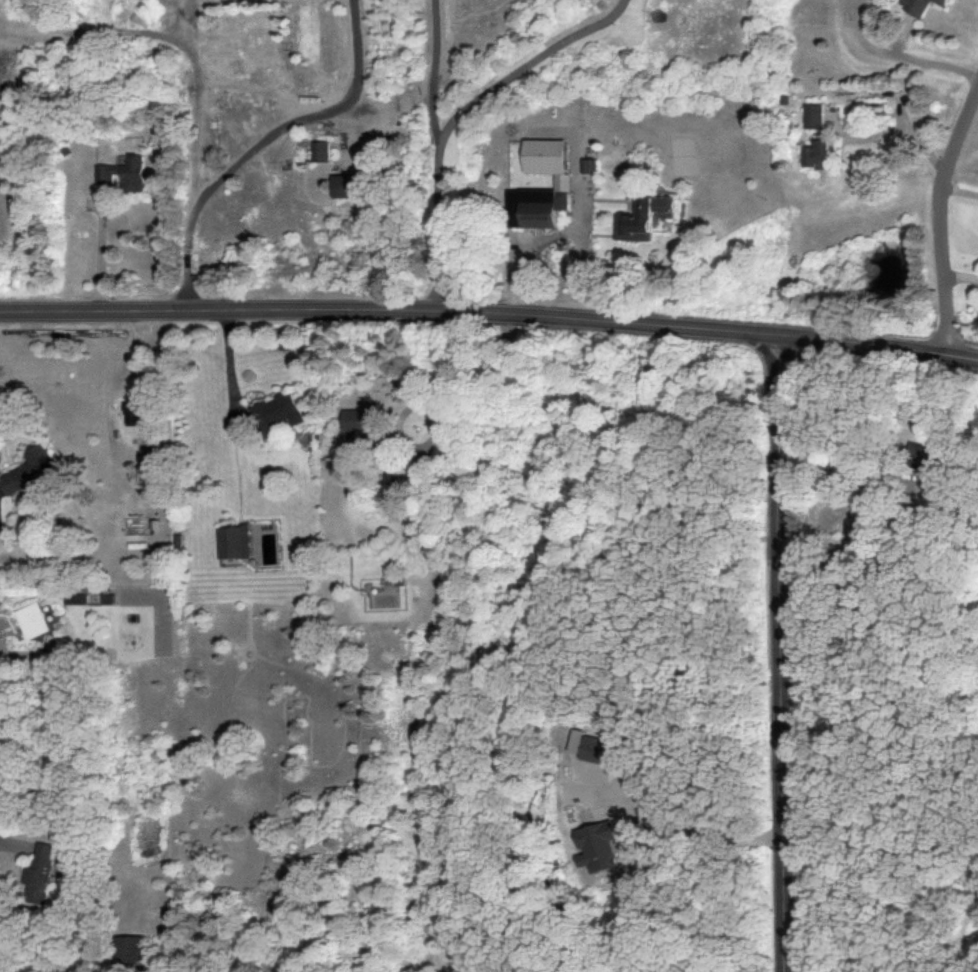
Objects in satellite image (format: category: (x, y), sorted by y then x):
building: (919, 6)
road: (189, 36)
road: (357, 49)
road: (521, 67)
road: (198, 72)
building: (813, 116)
road: (244, 150)
building: (318, 152)
building: (543, 155)
building: (817, 155)
road: (435, 156)
building: (122, 175)
building: (340, 187)
building: (534, 206)
building: (643, 217)
road: (939, 218)
road: (573, 230)
road: (104, 258)
road: (490, 315)
road: (422, 404)
building: (274, 413)
building: (353, 419)
building: (919, 454)
building: (27, 470)
road: (844, 538)
building: (232, 541)
building: (75, 599)
building: (32, 620)
road: (783, 654)
building: (593, 747)
road: (690, 826)
road: (9, 841)
building: (597, 845)
building: (39, 874)
building: (129, 949)

